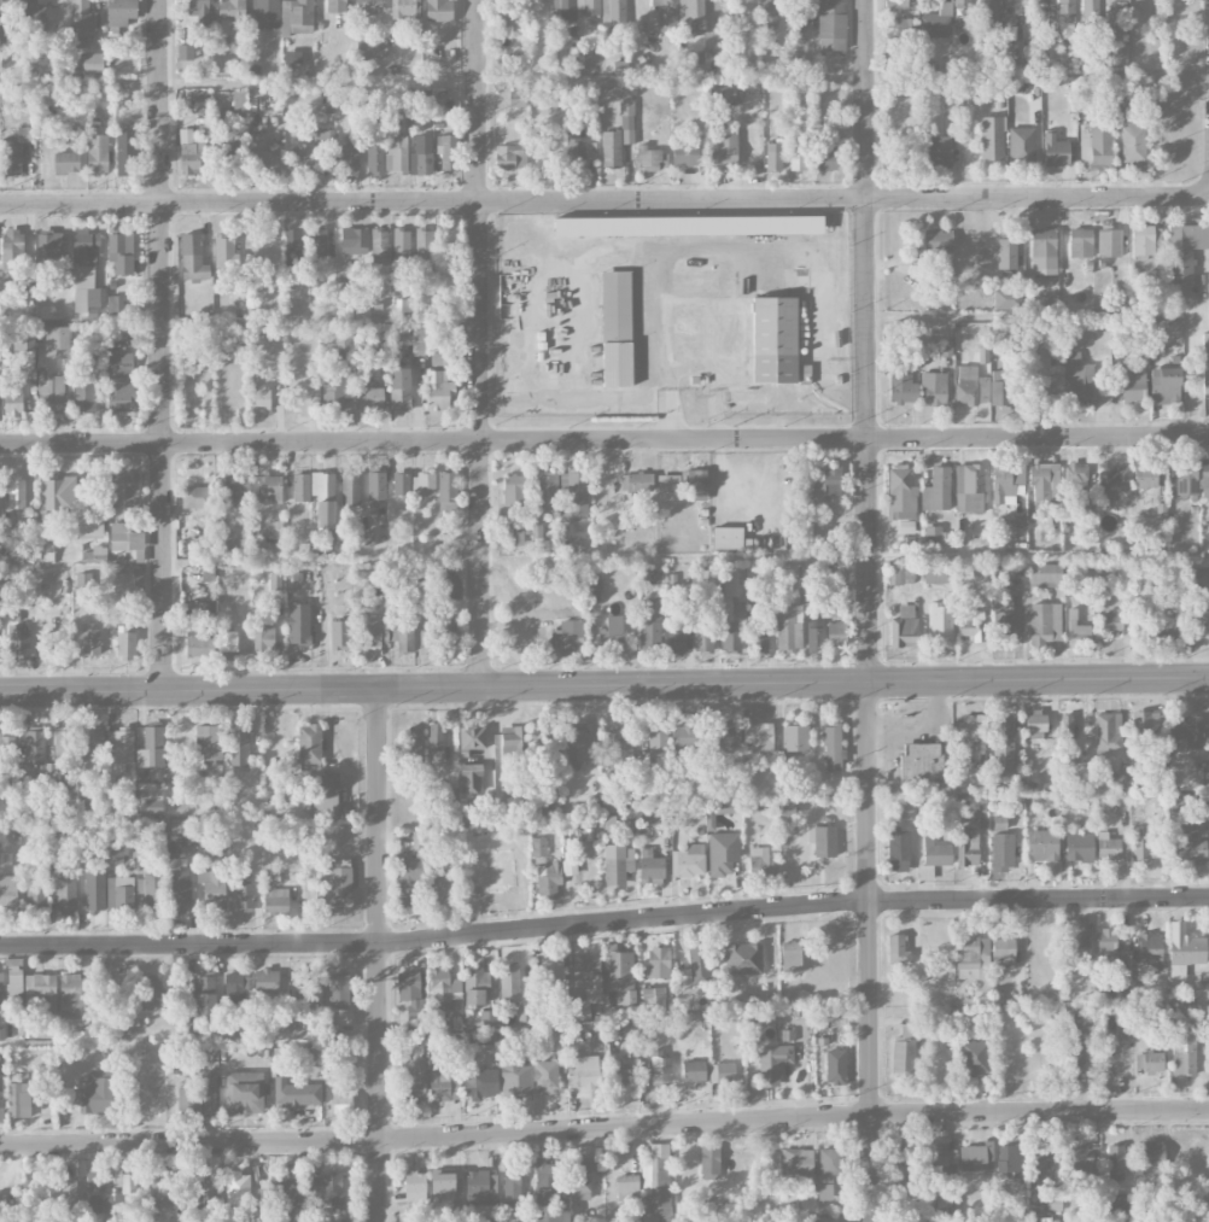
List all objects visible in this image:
building: (1041, 0)
building: (962, 1)
building: (895, 4)
building: (335, 5)
building: (366, 7)
building: (404, 8)
building: (572, 8)
building: (199, 10)
building: (438, 10)
building: (802, 10)
building: (30, 11)
building: (1090, 11)
building: (613, 12)
building: (265, 13)
building: (667, 13)
building: (770, 13)
building: (1065, 13)
building: (230, 16)
building: (296, 17)
building: (510, 17)
building: (987, 17)
building: (1116, 19)
building: (6, 22)
building: (82, 22)
building: (936, 22)
building: (831, 24)
building: (695, 27)
building: (905, 30)
building: (372, 48)
building: (185, 51)
building: (292, 58)
building: (93, 62)
building: (693, 63)
building: (722, 94)
building: (238, 101)
building: (626, 121)
road: (1163, 123)
building: (24, 134)
building: (70, 136)
building: (326, 138)
building: (991, 138)
building: (1132, 140)
building: (1099, 142)
building: (1021, 145)
building: (226, 146)
building: (723, 147)
building: (580, 148)
building: (611, 148)
building: (446, 151)
building: (685, 151)
building: (939, 151)
building: (1055, 151)
building: (97, 153)
building: (191, 153)
building: (396, 153)
building: (350, 154)
building: (775, 154)
building: (825, 154)
building: (1085, 154)
building: (267, 156)
building: (420, 156)
building: (10, 157)
building: (509, 157)
building: (303, 158)
building: (648, 158)
building: (374, 159)
building: (796, 159)
building: (66, 162)
road: (604, 201)
building: (688, 226)
building: (354, 240)
building: (938, 241)
building: (317, 242)
building: (401, 242)
building: (1080, 242)
building: (1108, 242)
building: (49, 244)
building: (84, 246)
building: (291, 246)
building: (380, 246)
building: (424, 249)
building: (1042, 249)
building: (1185, 250)
building: (12, 251)
building: (224, 251)
building: (121, 252)
building: (1006, 253)
building: (192, 257)
building: (87, 290)
building: (1005, 299)
building: (113, 304)
building: (615, 304)
building: (773, 339)
building: (58, 340)
building: (409, 340)
road: (480, 343)
road: (162, 345)
building: (23, 349)
building: (1071, 357)
building: (440, 358)
building: (1205, 362)
building: (615, 363)
building: (802, 373)
building: (1038, 373)
building: (121, 381)
road: (1196, 382)
building: (1164, 385)
building: (970, 386)
building: (1077, 386)
building: (934, 387)
building: (999, 387)
building: (1133, 387)
building: (399, 388)
building: (901, 388)
building: (333, 390)
building: (437, 390)
building: (49, 394)
building: (368, 394)
building: (261, 396)
building: (12, 398)
building: (83, 400)
road: (604, 439)
building: (1145, 476)
building: (1186, 476)
building: (1204, 476)
building: (1075, 478)
building: (1005, 479)
building: (636, 481)
building: (667, 481)
building: (1042, 481)
building: (401, 484)
building: (424, 484)
building: (827, 484)
building: (696, 485)
building: (1112, 485)
building: (235, 487)
building: (269, 487)
building: (375, 487)
building: (969, 487)
building: (123, 489)
building: (350, 489)
building: (446, 490)
building: (513, 490)
building: (545, 490)
building: (936, 490)
building: (573, 493)
building: (900, 493)
building: (16, 495)
building: (316, 495)
building: (195, 497)
building: (56, 502)
building: (1088, 505)
building: (88, 526)
building: (536, 526)
building: (516, 531)
building: (934, 533)
building: (729, 538)
building: (127, 539)
building: (577, 544)
building: (46, 550)
building: (54, 572)
building: (899, 572)
building: (934, 573)
building: (1044, 574)
building: (449, 586)
building: (592, 589)
building: (204, 609)
building: (729, 610)
road: (870, 610)
building: (1001, 614)
building: (650, 619)
building: (298, 622)
building: (1044, 622)
building: (1110, 622)
building: (789, 627)
building: (904, 627)
building: (971, 627)
building: (757, 631)
building: (1080, 631)
building: (1166, 631)
building: (385, 632)
building: (567, 632)
building: (611, 633)
building: (814, 633)
building: (836, 633)
building: (339, 635)
building: (450, 636)
building: (676, 636)
building: (263, 637)
building: (703, 637)
building: (90, 639)
building: (425, 641)
building: (18, 642)
building: (198, 643)
building: (127, 645)
building: (227, 648)
road: (604, 686)
building: (1035, 721)
building: (1144, 725)
building: (973, 726)
building: (1185, 730)
building: (1108, 731)
building: (1065, 732)
building: (728, 735)
building: (436, 736)
building: (758, 736)
building: (472, 737)
building: (795, 737)
building: (542, 738)
building: (684, 739)
building: (63, 742)
building: (93, 742)
building: (577, 742)
building: (6, 743)
building: (414, 743)
building: (509, 743)
building: (206, 744)
building: (238, 744)
building: (119, 746)
building: (658, 746)
building: (34, 747)
building: (309, 747)
building: (831, 747)
building: (1003, 747)
building: (151, 748)
building: (619, 749)
building: (919, 762)
building: (1187, 776)
building: (469, 777)
building: (1116, 782)
building: (150, 796)
building: (326, 797)
building: (1079, 800)
building: (608, 802)
building: (1178, 807)
building: (181, 835)
building: (824, 841)
building: (205, 842)
building: (416, 843)
building: (1041, 844)
building: (1140, 844)
building: (538, 846)
building: (1079, 846)
building: (1110, 846)
building: (966, 847)
building: (898, 850)
building: (1188, 850)
building: (723, 853)
building: (936, 853)
building: (115, 854)
building: (1001, 854)
building: (688, 860)
building: (760, 861)
building: (617, 864)
building: (650, 866)
building: (408, 881)
building: (549, 881)
building: (334, 883)
building: (443, 885)
building: (212, 888)
building: (94, 889)
building: (8, 890)
building: (179, 890)
building: (64, 893)
building: (119, 894)
building: (244, 894)
building: (35, 899)
building: (275, 900)
road: (604, 924)
building: (1185, 946)
building: (1001, 947)
building: (1076, 948)
building: (1105, 948)
building: (898, 949)
building: (1149, 953)
road: (381, 954)
building: (790, 957)
building: (743, 958)
building: (658, 961)
building: (974, 961)
building: (699, 965)
building: (551, 971)
building: (619, 975)
building: (265, 980)
building: (14, 982)
building: (510, 983)
building: (475, 986)
building: (585, 986)
building: (302, 987)
building: (234, 989)
building: (338, 989)
building: (443, 989)
building: (41, 990)
building: (151, 992)
building: (410, 993)
building: (74, 996)
building: (201, 996)
building: (487, 1018)
building: (1123, 1022)
building: (189, 1029)
building: (224, 1029)
building: (787, 1039)
building: (904, 1051)
building: (1184, 1051)
building: (1074, 1054)
building: (314, 1056)
building: (1149, 1062)
building: (767, 1065)
building: (835, 1066)
building: (660, 1068)
building: (693, 1070)
building: (722, 1071)
building: (1, 1072)
building: (584, 1072)
building: (623, 1074)
building: (545, 1076)
building: (515, 1080)
building: (442, 1081)
building: (414, 1083)
building: (480, 1083)
building: (209, 1089)
building: (244, 1092)
building: (296, 1092)
building: (97, 1093)
building: (18, 1099)
building: (187, 1099)
building: (341, 1103)
road: (604, 1128)
building: (1152, 1152)
building: (976, 1157)
building: (1081, 1158)
building: (1007, 1159)
building: (709, 1162)
building: (1115, 1162)
building: (796, 1163)
building: (1039, 1169)
building: (829, 1170)
building: (123, 1179)
building: (580, 1179)
building: (547, 1181)
building: (656, 1183)
building: (415, 1186)
building: (445, 1186)
building: (162, 1187)
building: (480, 1187)
building: (626, 1187)
building: (191, 1188)
building: (329, 1188)
building: (512, 1188)
building: (94, 1192)
building: (69, 1193)
building: (208, 1194)
building: (286, 1198)
building: (1116, 1203)
building: (247, 1211)
building: (551, 1216)
building: (827, 1218)
building: (1179, 1220)

